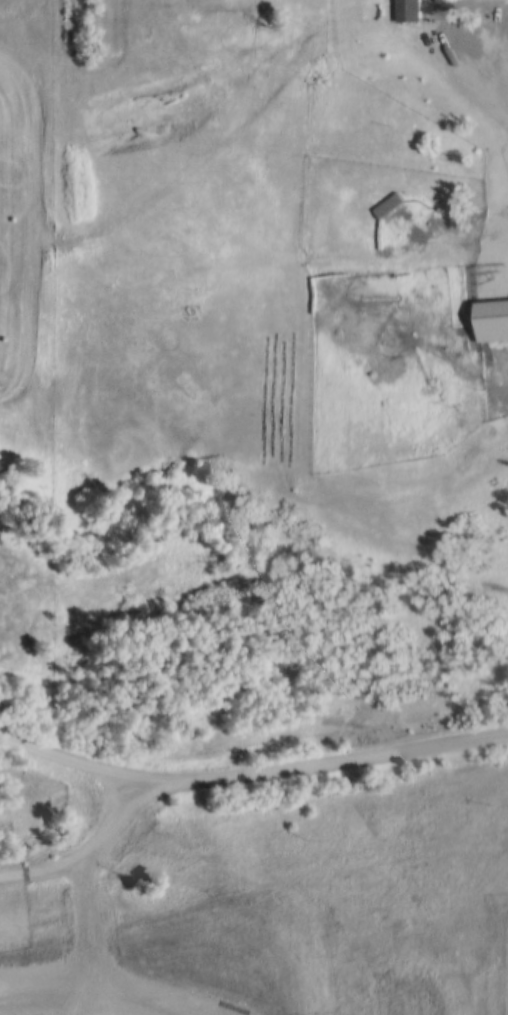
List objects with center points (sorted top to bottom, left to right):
building: (401, 10)
road: (466, 54)
road: (466, 93)
road: (215, 148)
road: (251, 778)
road: (80, 855)

